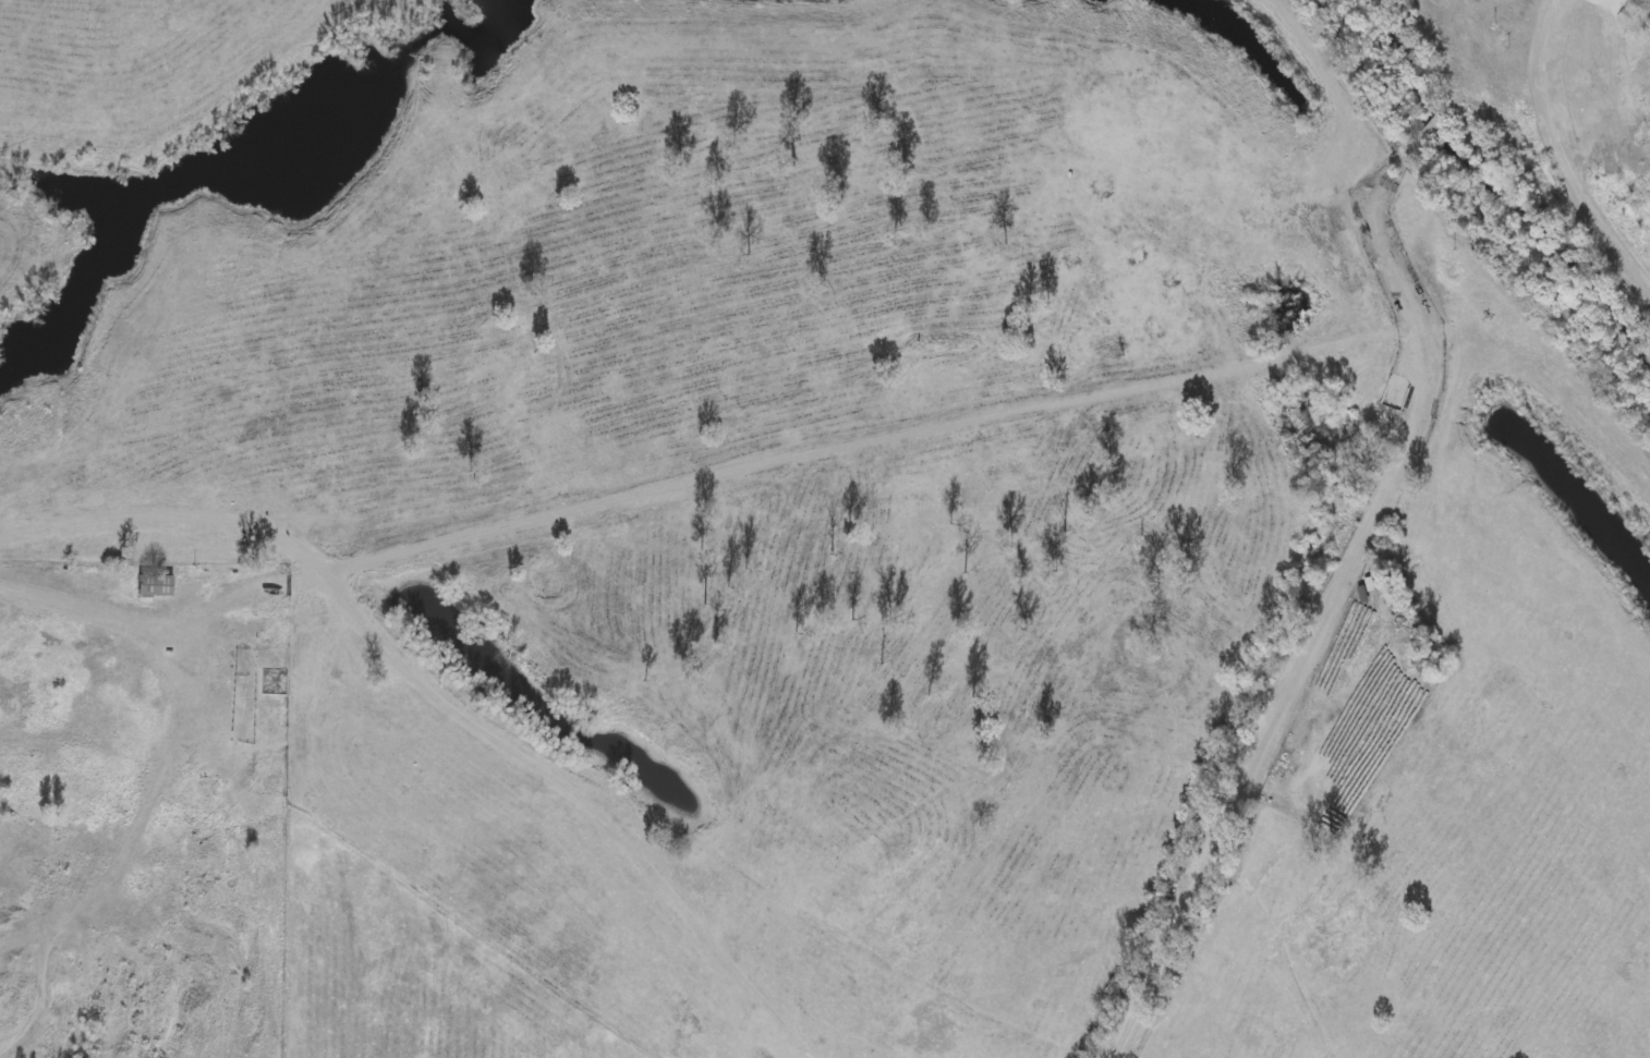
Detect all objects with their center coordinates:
road: (1548, 39)
road: (1579, 182)
road: (827, 454)
building: (157, 582)
road: (1318, 636)
road: (160, 776)

